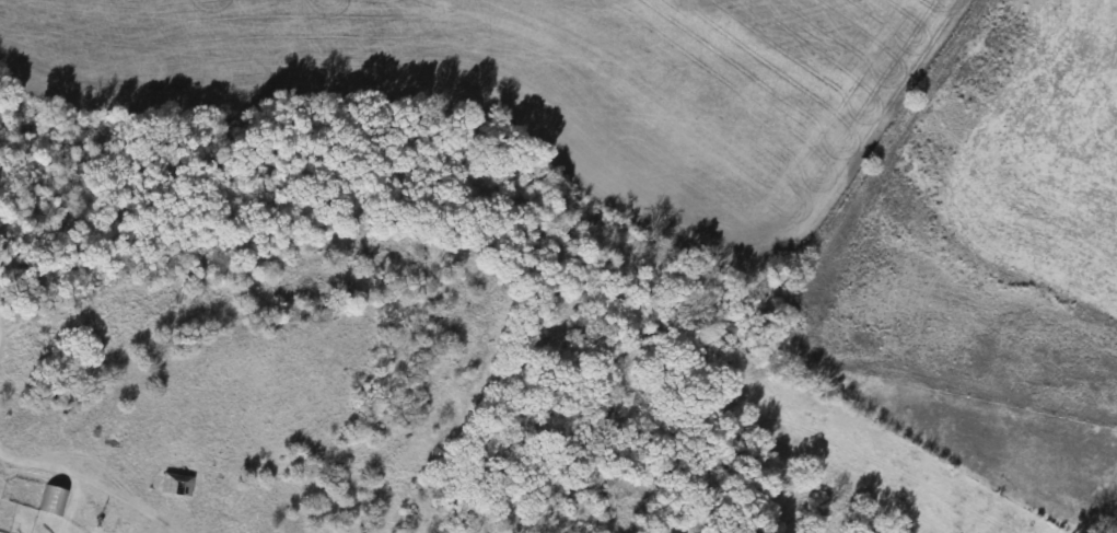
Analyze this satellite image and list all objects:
building: (174, 485)
road: (37, 488)
building: (50, 500)

